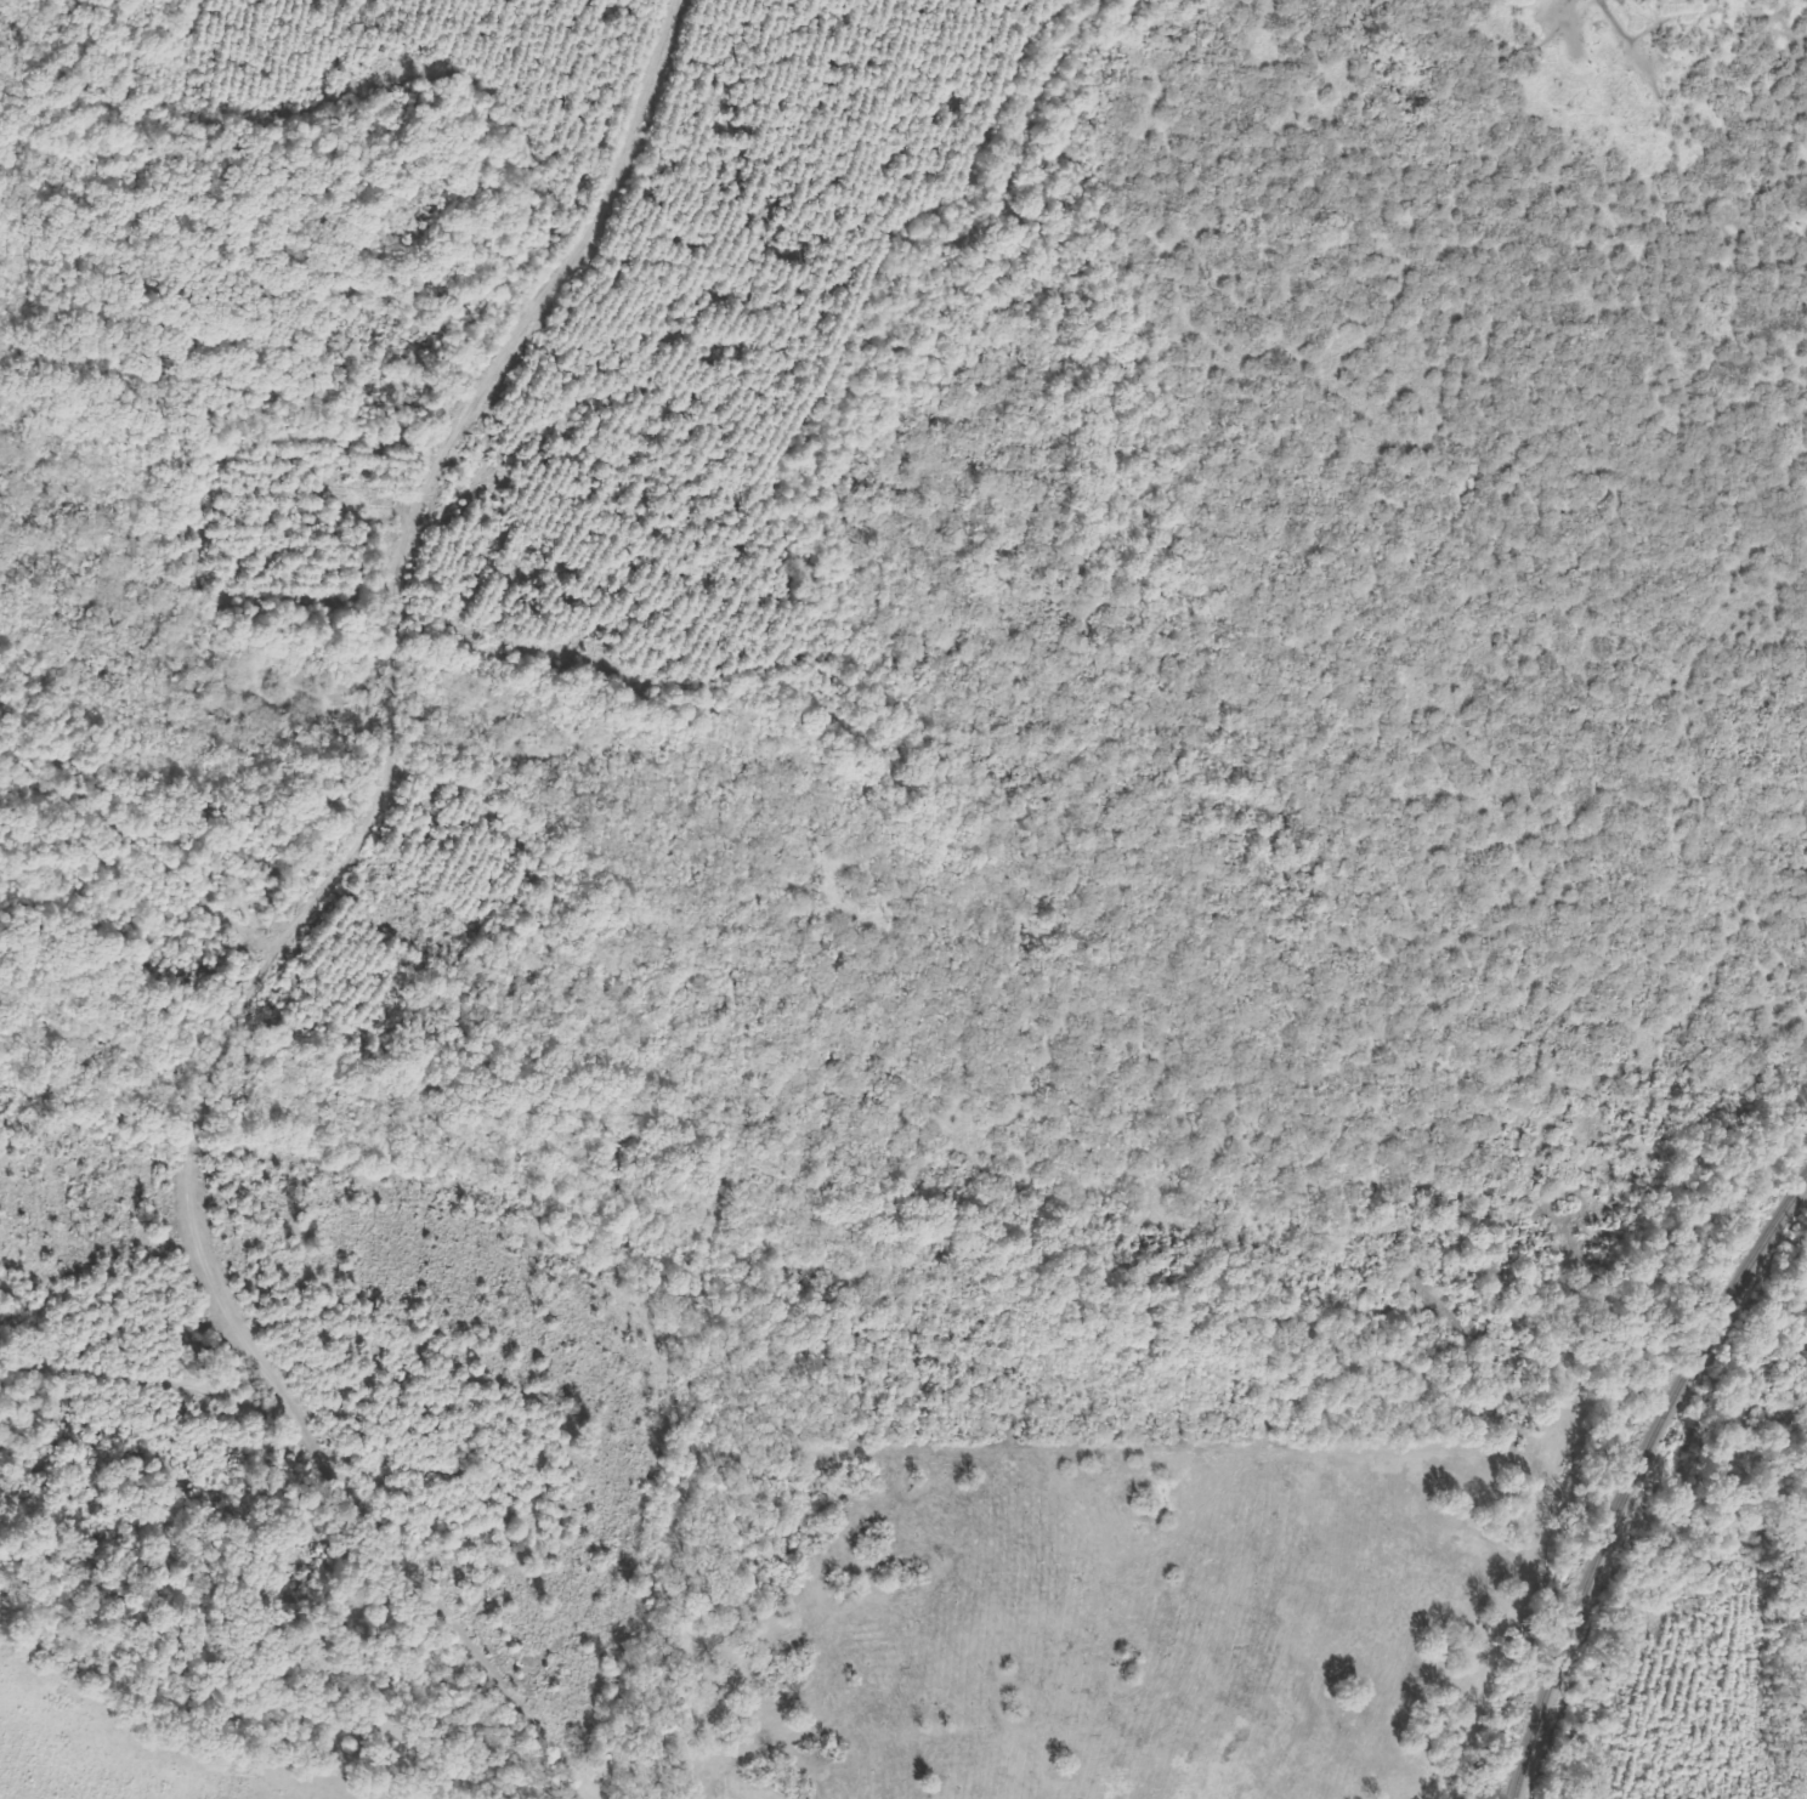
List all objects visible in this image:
railway: (1639, 1476)

